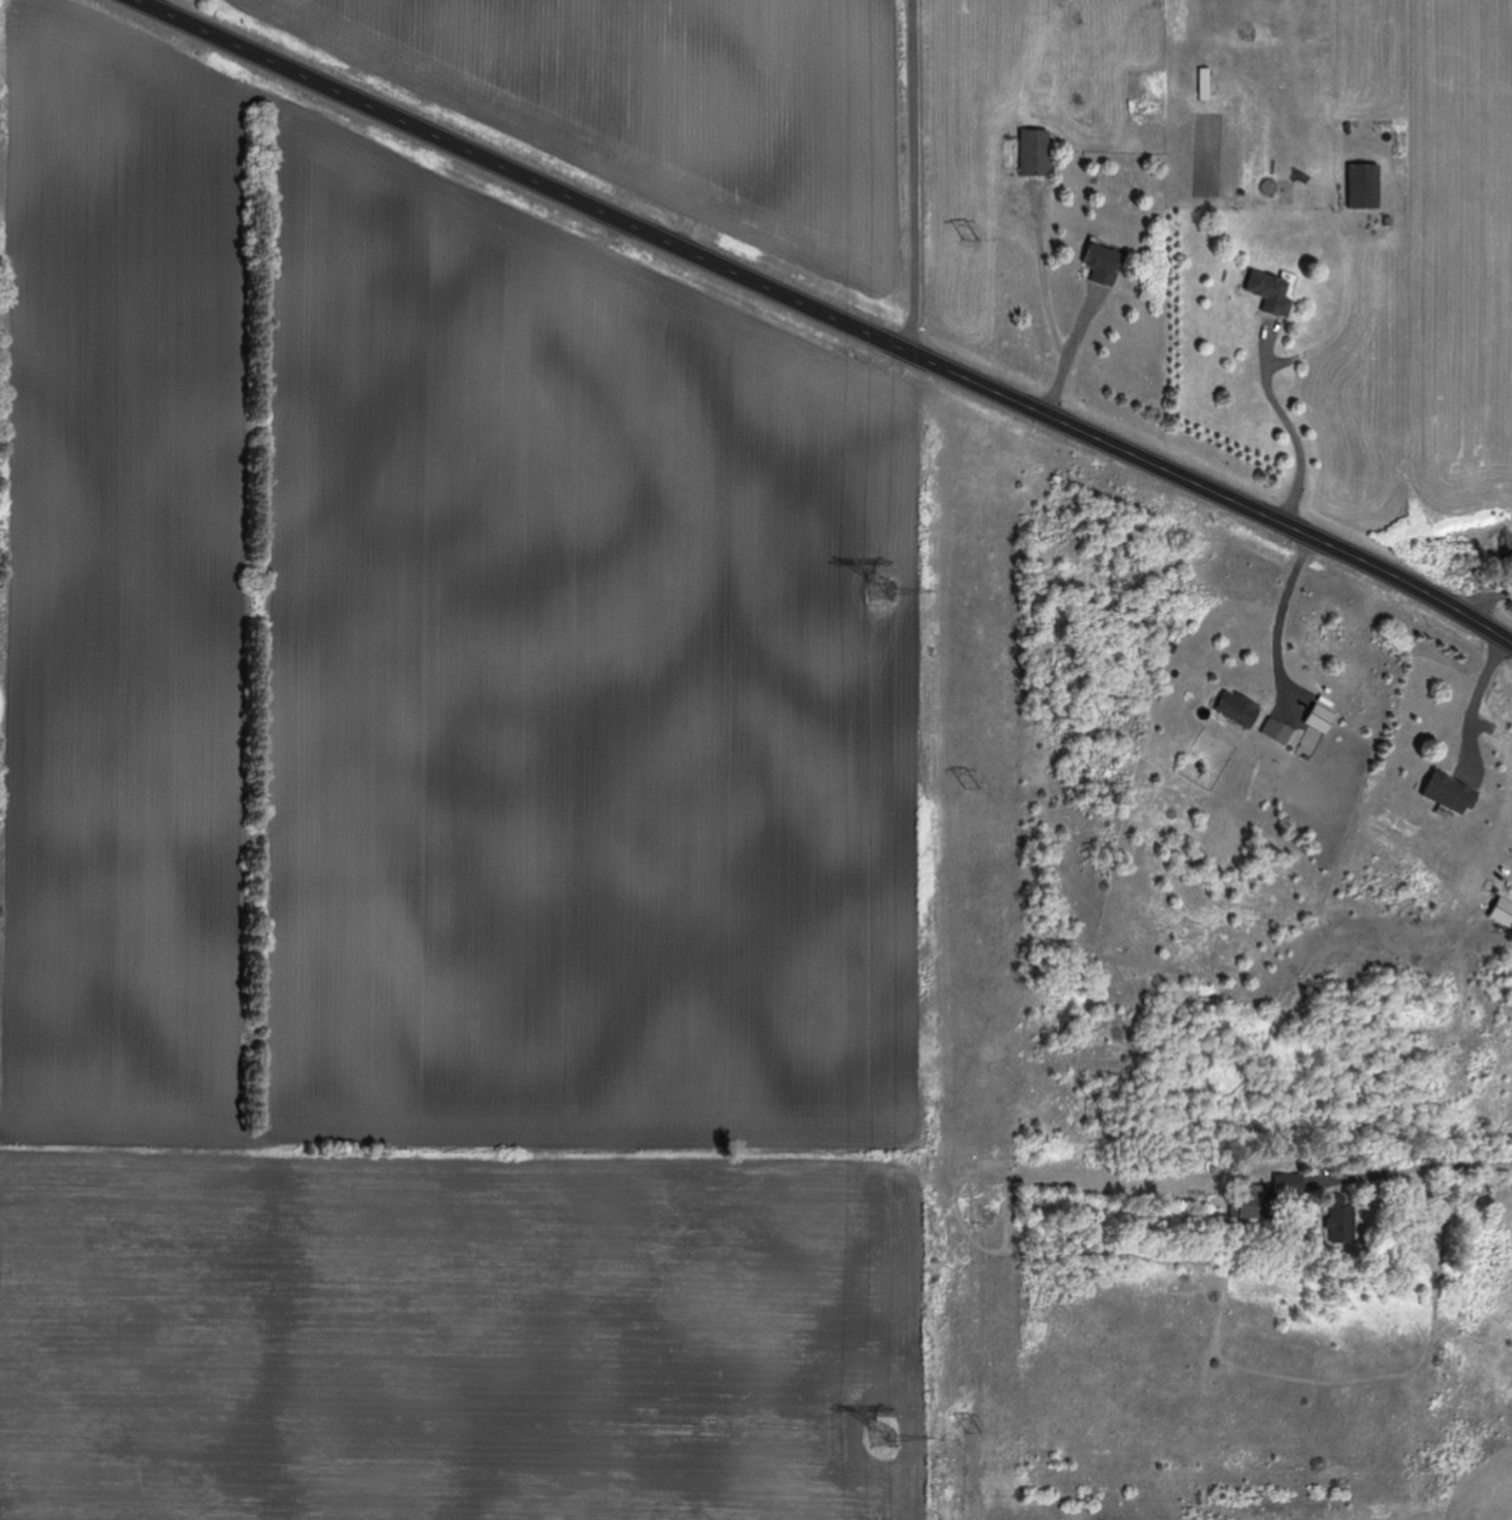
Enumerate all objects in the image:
building: (1204, 84)
building: (1036, 154)
road: (951, 184)
building: (1364, 187)
power tower: (976, 243)
building: (1103, 265)
building: (1271, 293)
road: (831, 313)
road: (1294, 435)
power tower: (880, 585)
road: (1482, 586)
road: (1286, 614)
building: (1238, 709)
building: (1320, 719)
power tower: (976, 788)
building: (1451, 794)
building: (1502, 915)
road: (1503, 1168)
building: (1289, 1185)
building: (1248, 1202)
building: (1341, 1221)
power tower: (975, 1434)
power tower: (881, 1435)

